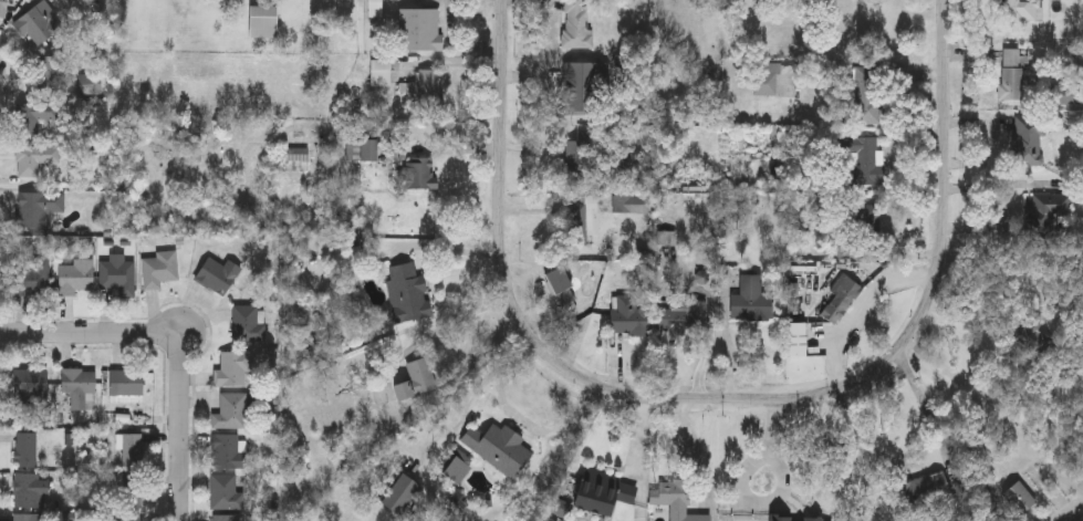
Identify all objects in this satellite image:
building: (3, 8)
building: (1021, 9)
building: (262, 21)
building: (38, 23)
building: (575, 25)
building: (419, 29)
building: (379, 72)
building: (1011, 73)
building: (766, 79)
building: (574, 90)
building: (425, 91)
building: (867, 95)
building: (34, 115)
building: (1027, 143)
building: (367, 149)
building: (294, 154)
building: (34, 159)
building: (579, 159)
building: (625, 160)
building: (860, 161)
road: (946, 189)
building: (637, 205)
building: (38, 208)
building: (1050, 213)
building: (869, 221)
building: (574, 225)
building: (159, 270)
building: (217, 274)
building: (118, 275)
building: (76, 278)
building: (32, 279)
building: (408, 291)
building: (746, 299)
building: (840, 299)
building: (687, 315)
building: (631, 316)
building: (249, 322)
road: (431, 331)
road: (92, 333)
building: (796, 338)
road: (544, 352)
building: (233, 367)
building: (416, 379)
building: (31, 381)
building: (77, 382)
building: (127, 383)
building: (231, 410)
road: (537, 426)
road: (180, 434)
building: (27, 447)
building: (499, 447)
building: (133, 448)
road: (649, 458)
building: (457, 466)
road: (739, 488)
building: (31, 489)
building: (924, 489)
building: (133, 490)
building: (226, 492)
building: (600, 492)
building: (400, 494)
building: (1019, 497)
building: (676, 499)
building: (28, 517)
building: (128, 517)
building: (226, 518)
building: (795, 518)

